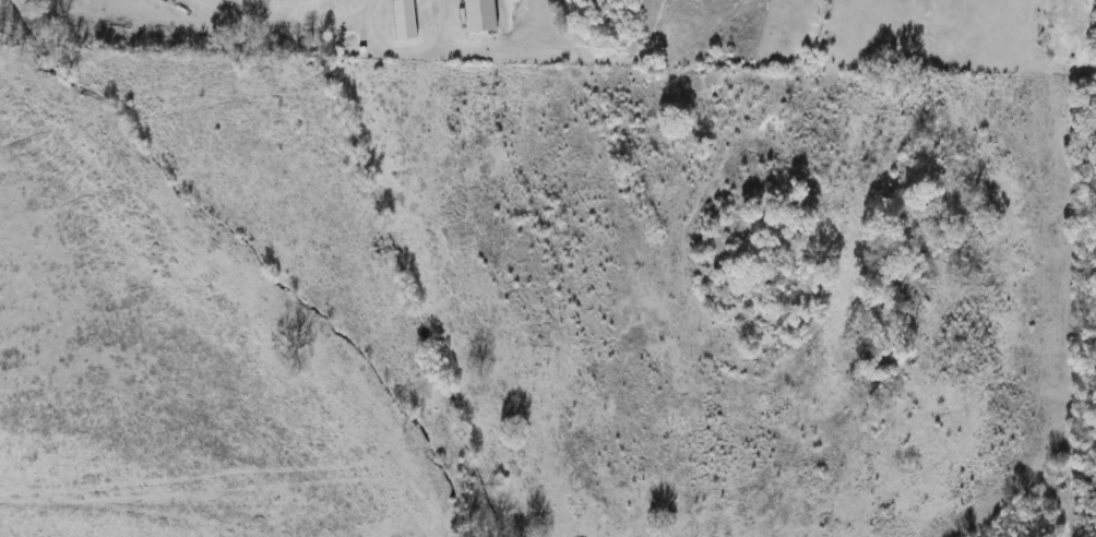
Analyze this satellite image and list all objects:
road: (430, 8)
building: (485, 15)
building: (408, 20)

